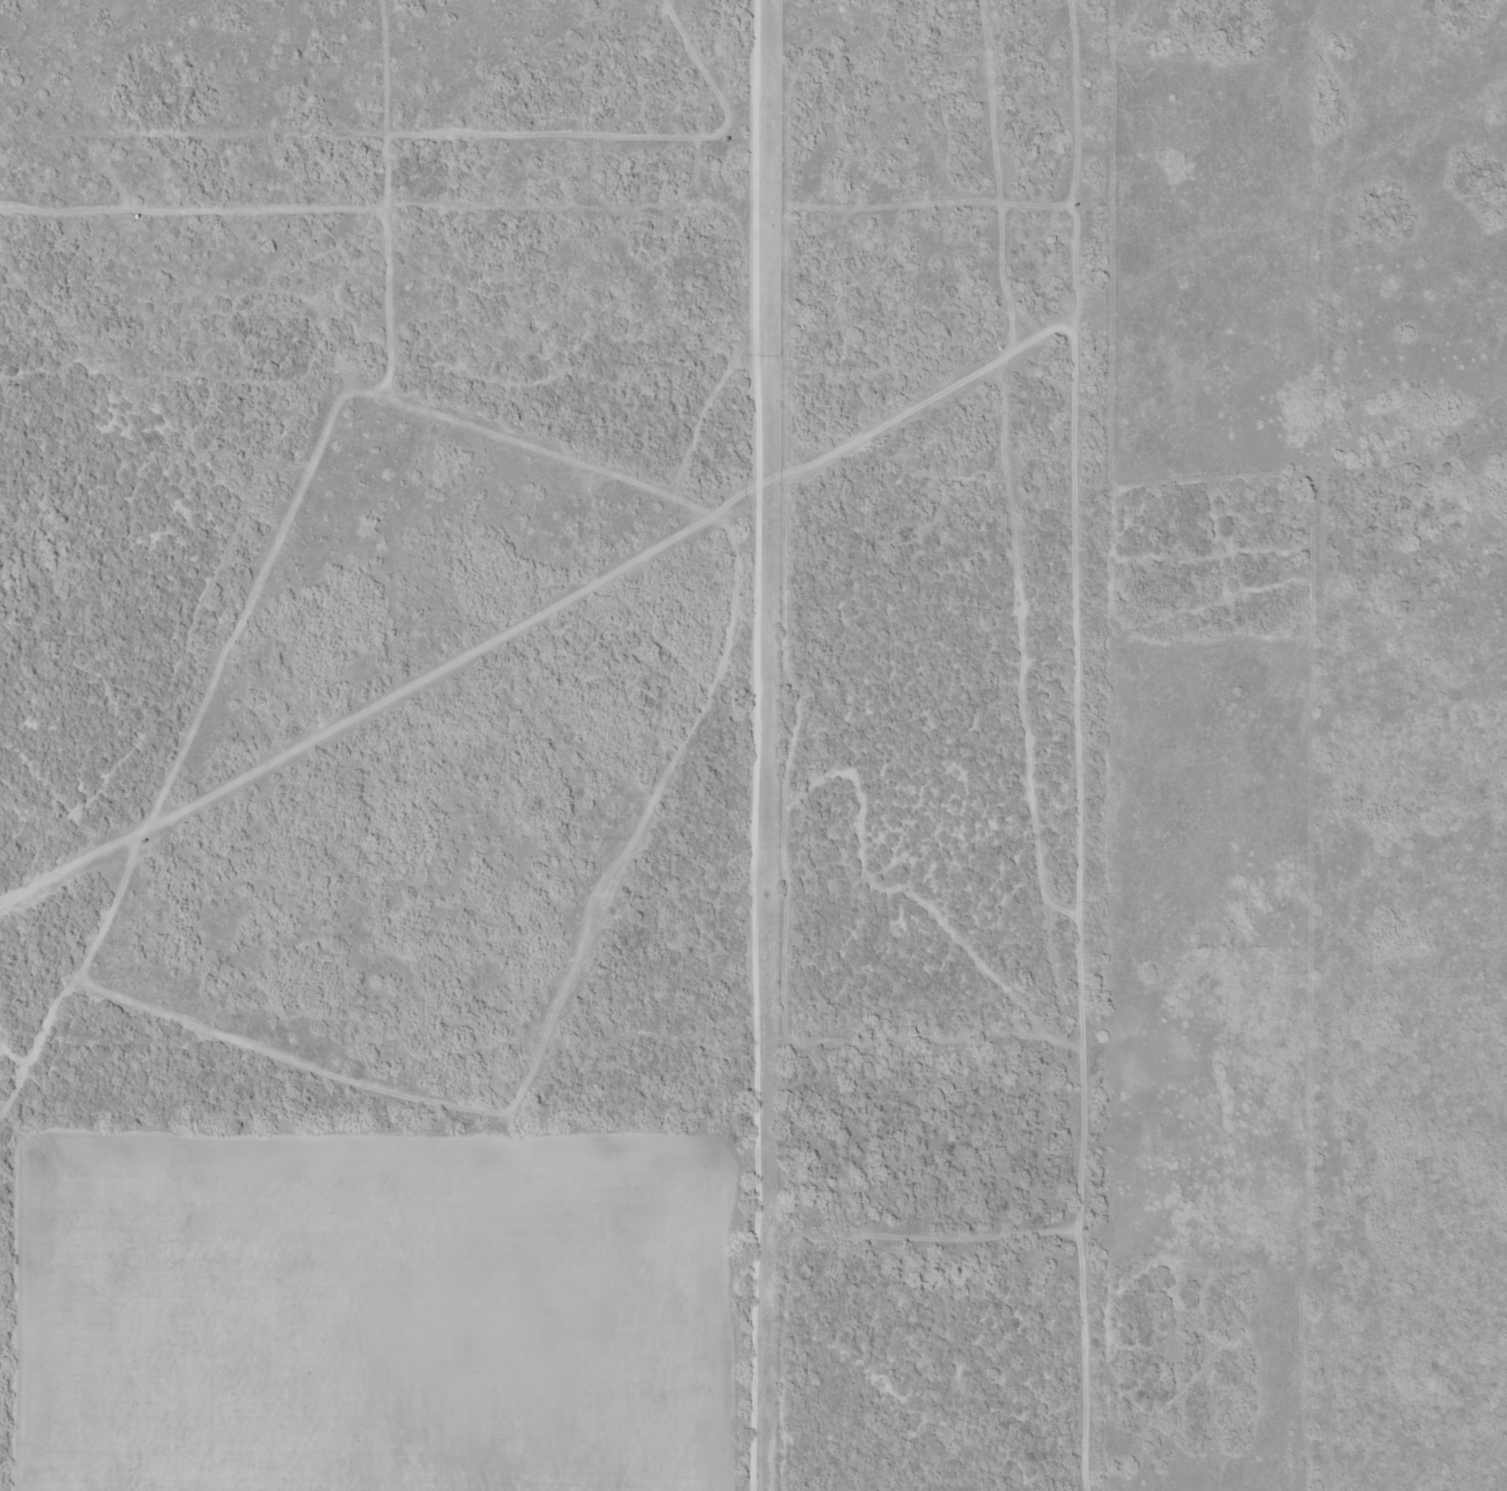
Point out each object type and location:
road: (738, 745)

